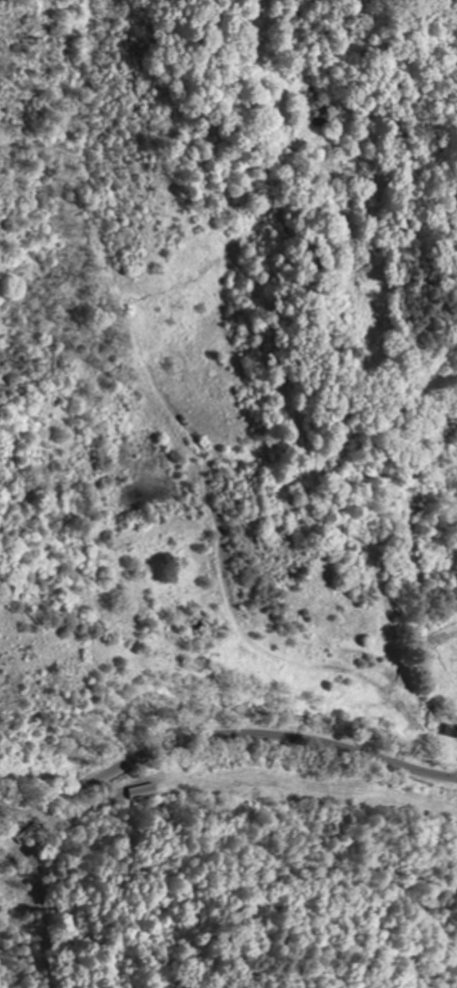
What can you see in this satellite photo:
road: (222, 734)

